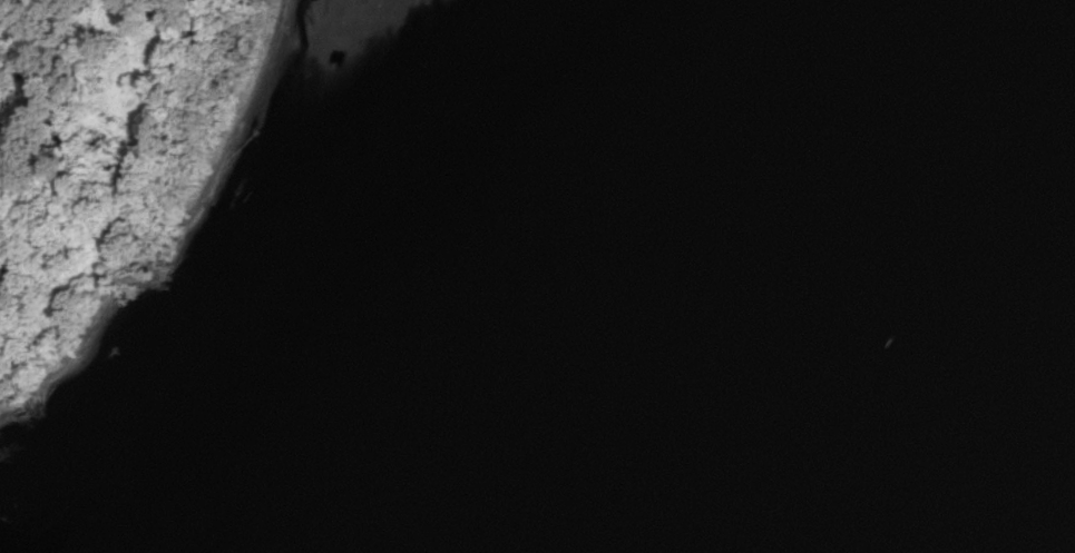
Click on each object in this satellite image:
river: (1022, 508)

